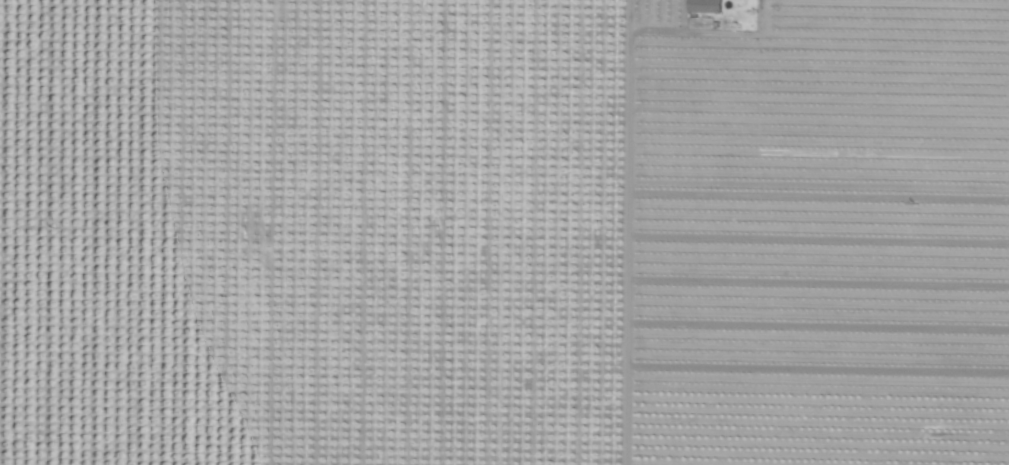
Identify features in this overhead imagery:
building: (695, 4)
crop: (504, 232)

